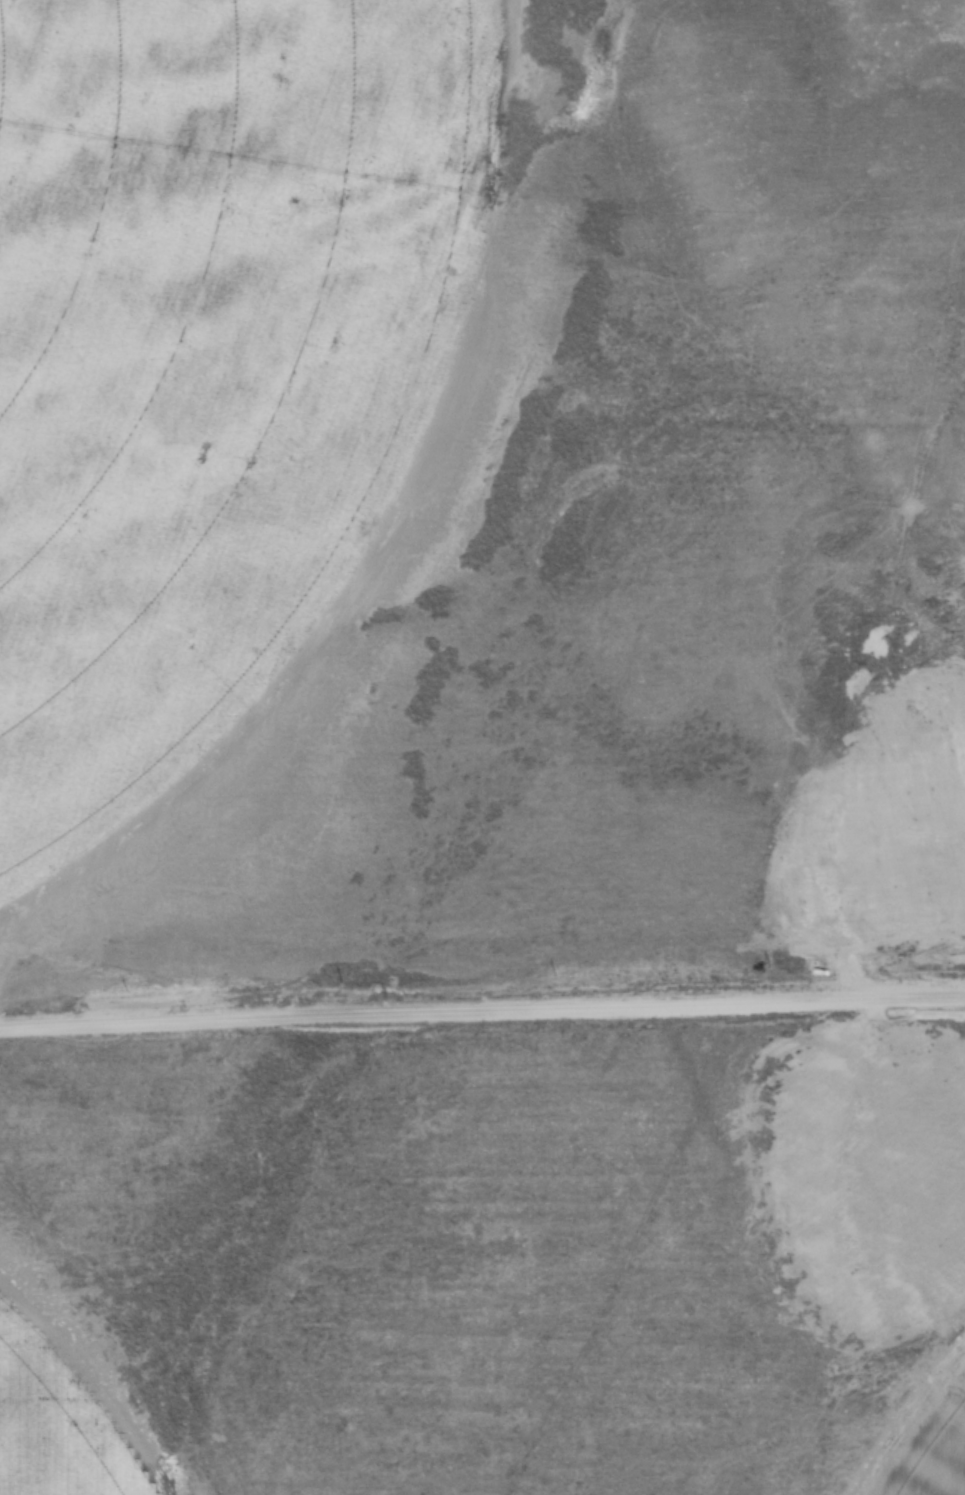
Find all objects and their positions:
crop: (952, 1477)

